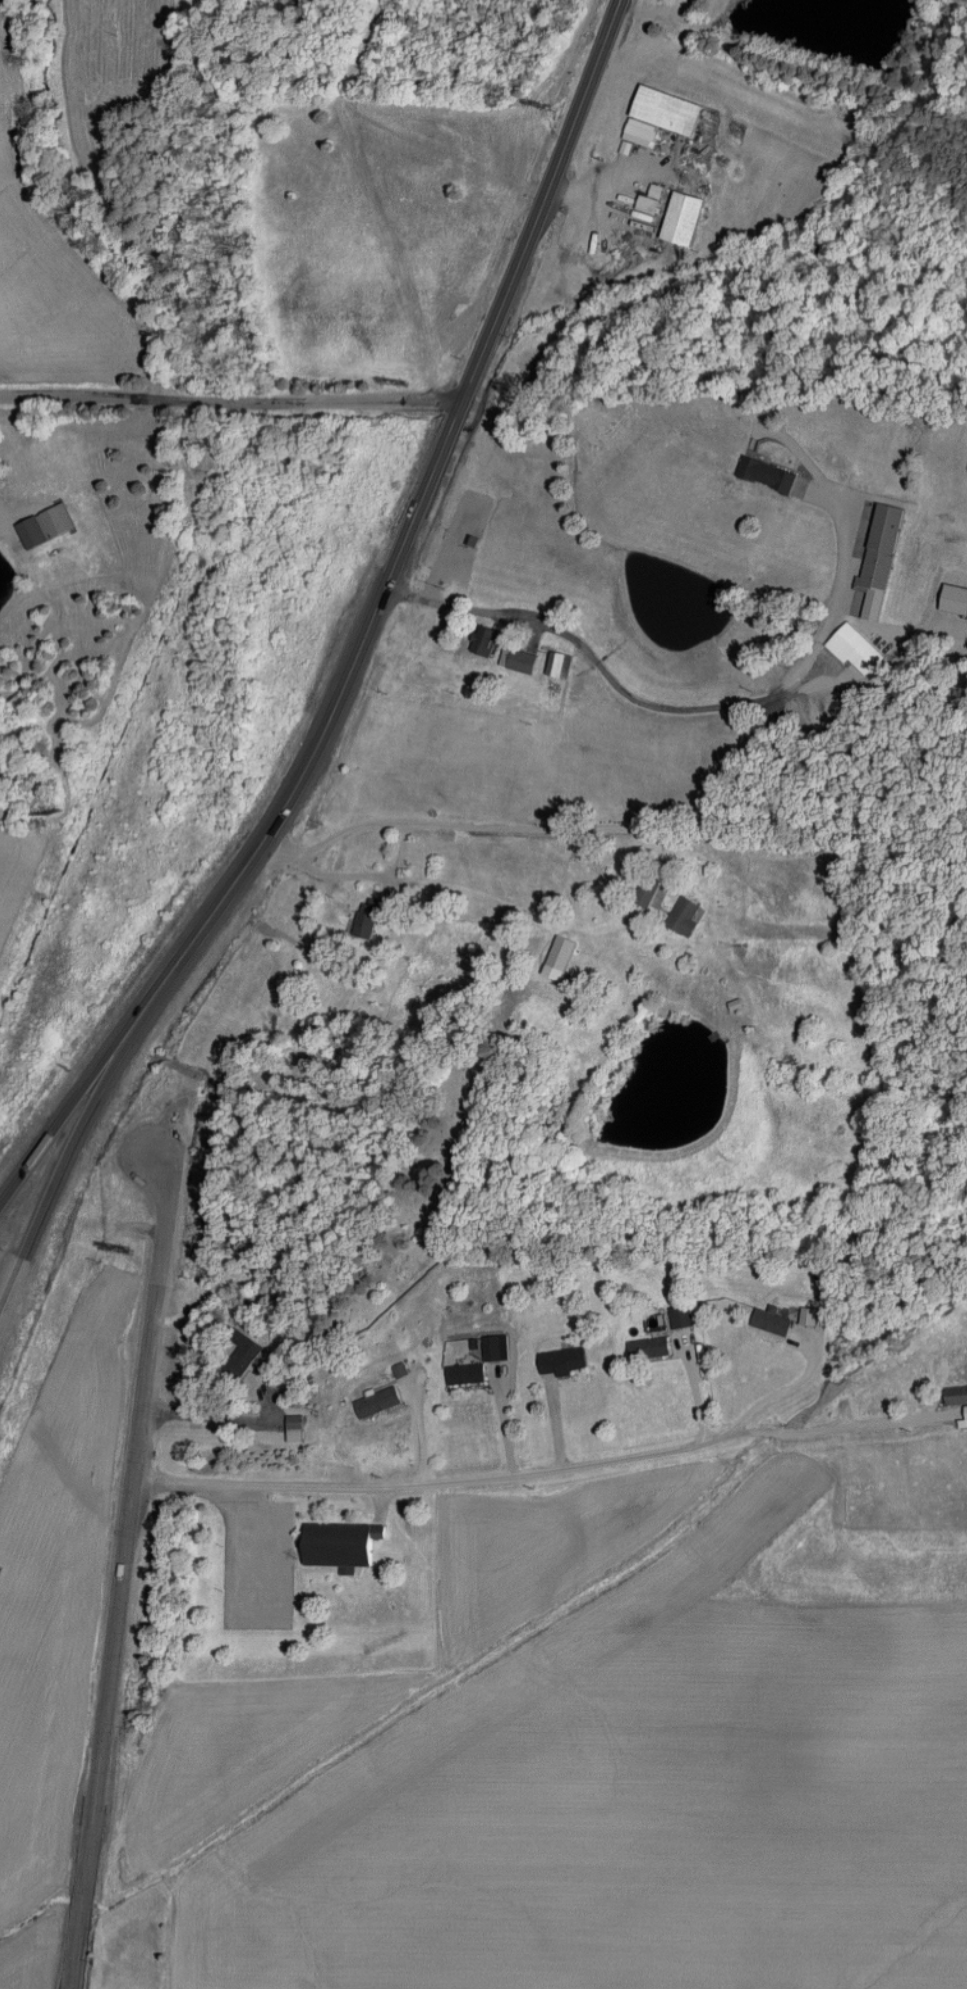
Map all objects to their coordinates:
building: (662, 115)
building: (684, 218)
road: (230, 400)
building: (768, 473)
road: (414, 510)
road: (5, 520)
building: (47, 526)
building: (881, 560)
building: (954, 599)
building: (485, 640)
building: (856, 651)
building: (521, 661)
building: (558, 664)
road: (669, 709)
road: (486, 826)
building: (622, 831)
road: (321, 872)
building: (648, 889)
building: (683, 917)
building: (367, 918)
building: (561, 954)
building: (310, 1033)
road: (77, 1099)
road: (73, 1147)
building: (681, 1317)
building: (772, 1323)
building: (492, 1349)
building: (649, 1349)
building: (243, 1355)
building: (563, 1361)
building: (466, 1374)
road: (786, 1393)
building: (956, 1396)
building: (378, 1403)
road: (211, 1419)
building: (296, 1429)
road: (835, 1429)
road: (437, 1483)
building: (341, 1544)
road: (124, 1571)

